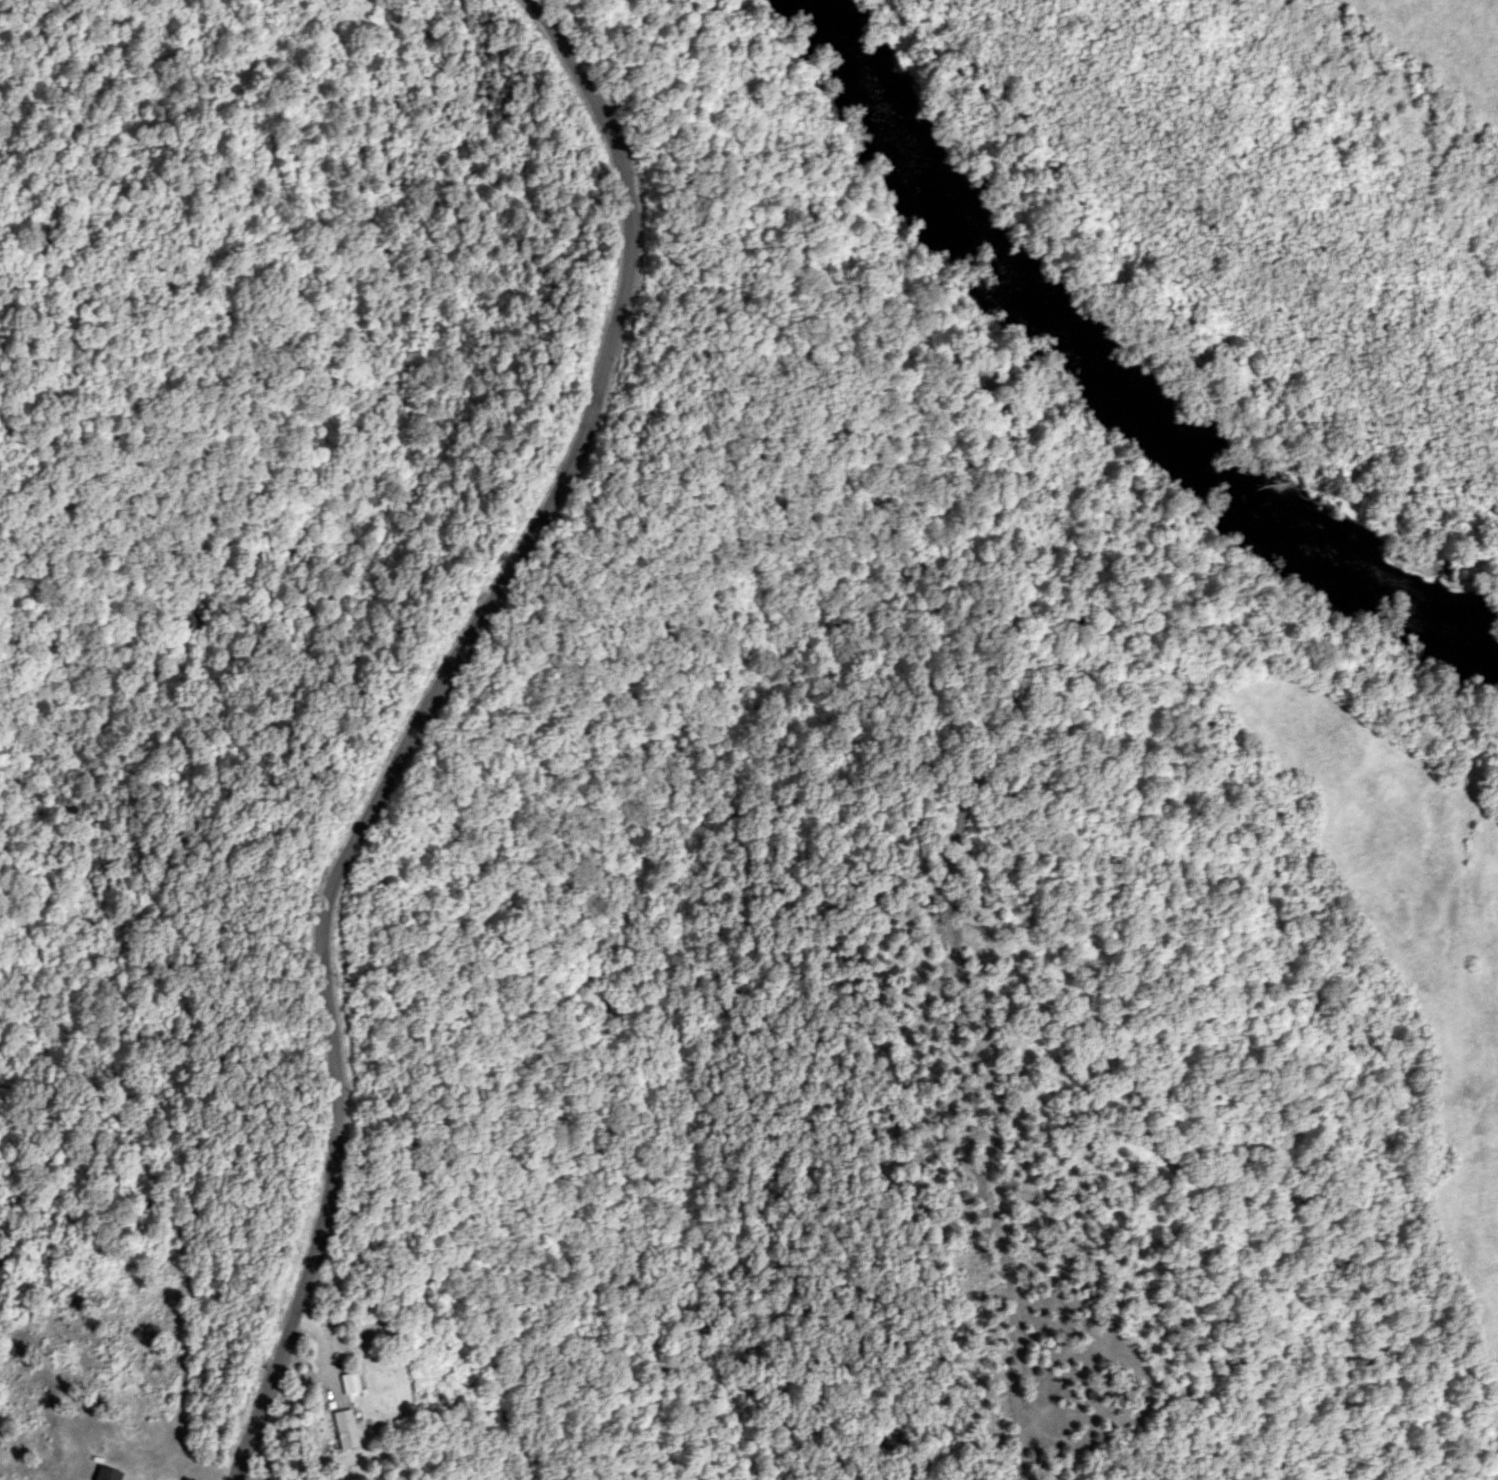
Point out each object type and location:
river: (1100, 381)
road: (405, 729)
building: (349, 1383)
building: (344, 1429)
building: (108, 1474)

